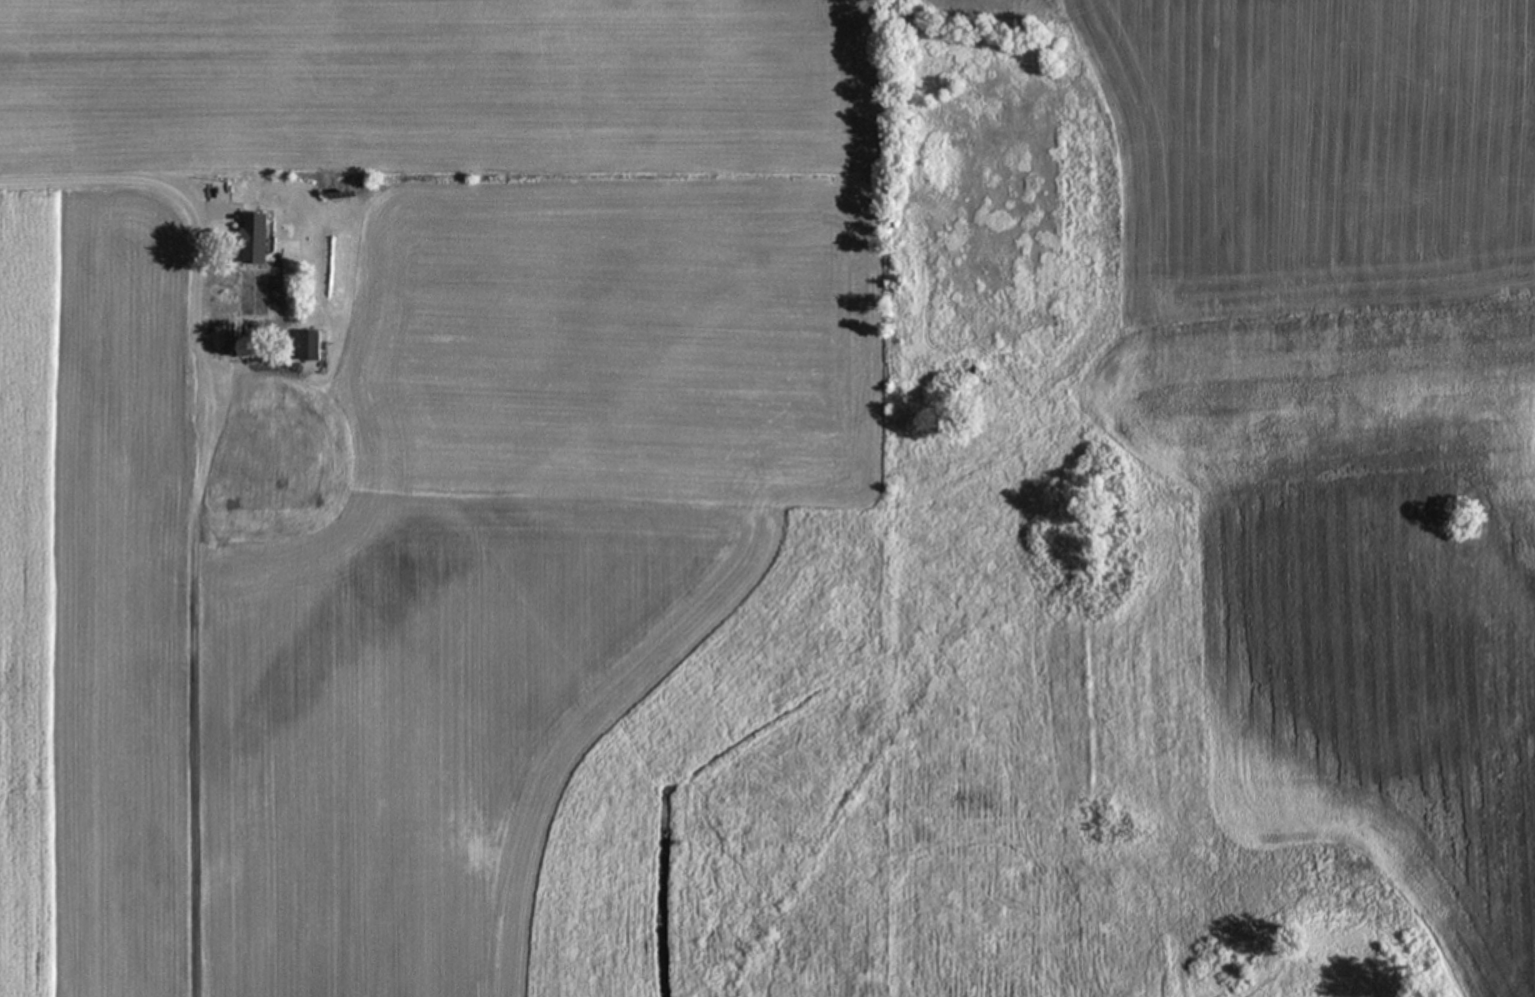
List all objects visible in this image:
building: (258, 240)
building: (314, 348)
building: (202, 407)
building: (278, 430)
road: (194, 497)

